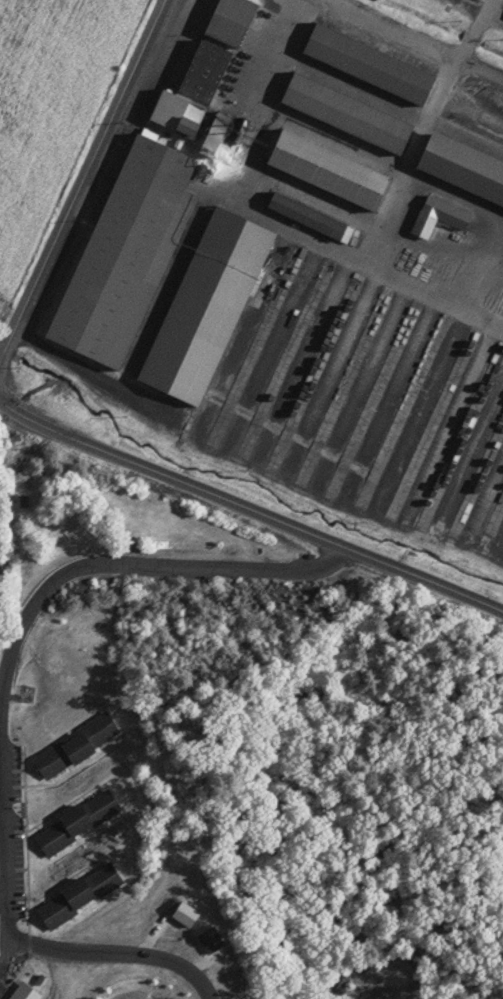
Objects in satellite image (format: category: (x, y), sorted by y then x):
building: (228, 26)
road: (408, 42)
building: (366, 65)
building: (191, 91)
building: (344, 114)
railway: (478, 130)
building: (212, 136)
building: (461, 170)
building: (324, 171)
road: (83, 186)
building: (441, 212)
building: (308, 219)
building: (123, 253)
building: (204, 308)
road: (248, 504)
road: (25, 621)
building: (74, 746)
building: (76, 822)
building: (78, 895)
building: (209, 939)
road: (121, 960)
building: (23, 992)

